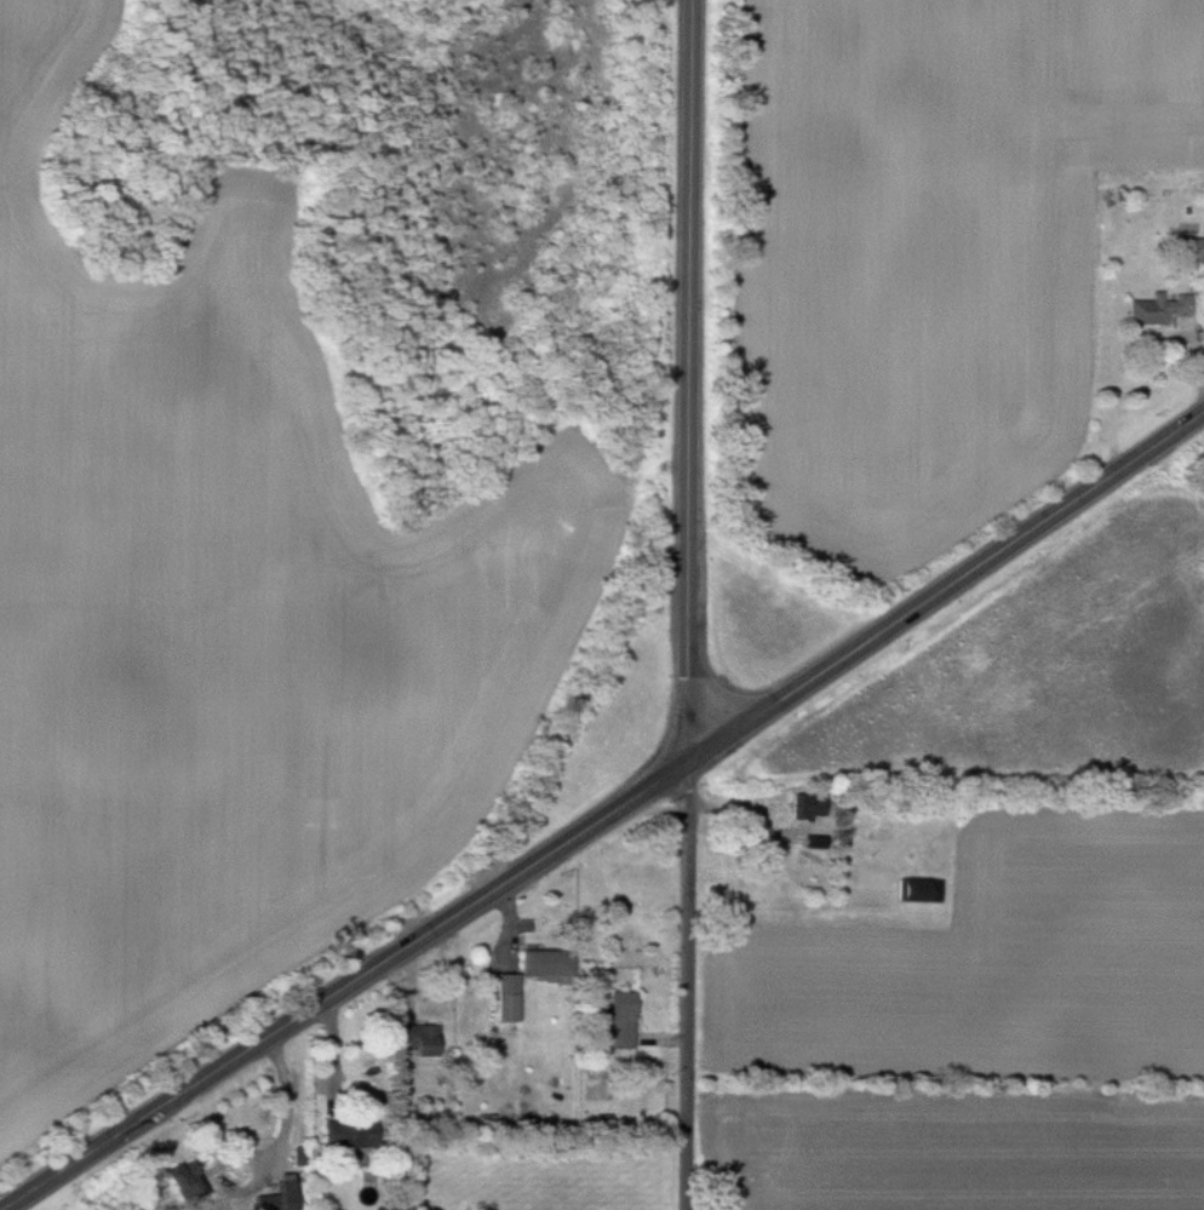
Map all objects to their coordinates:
building: (1188, 248)
building: (1157, 308)
road: (689, 380)
building: (808, 805)
road: (606, 815)
building: (918, 888)
building: (546, 962)
road: (687, 986)
building: (508, 996)
building: (619, 1017)
building: (419, 1039)
building: (348, 1132)
building: (180, 1179)

